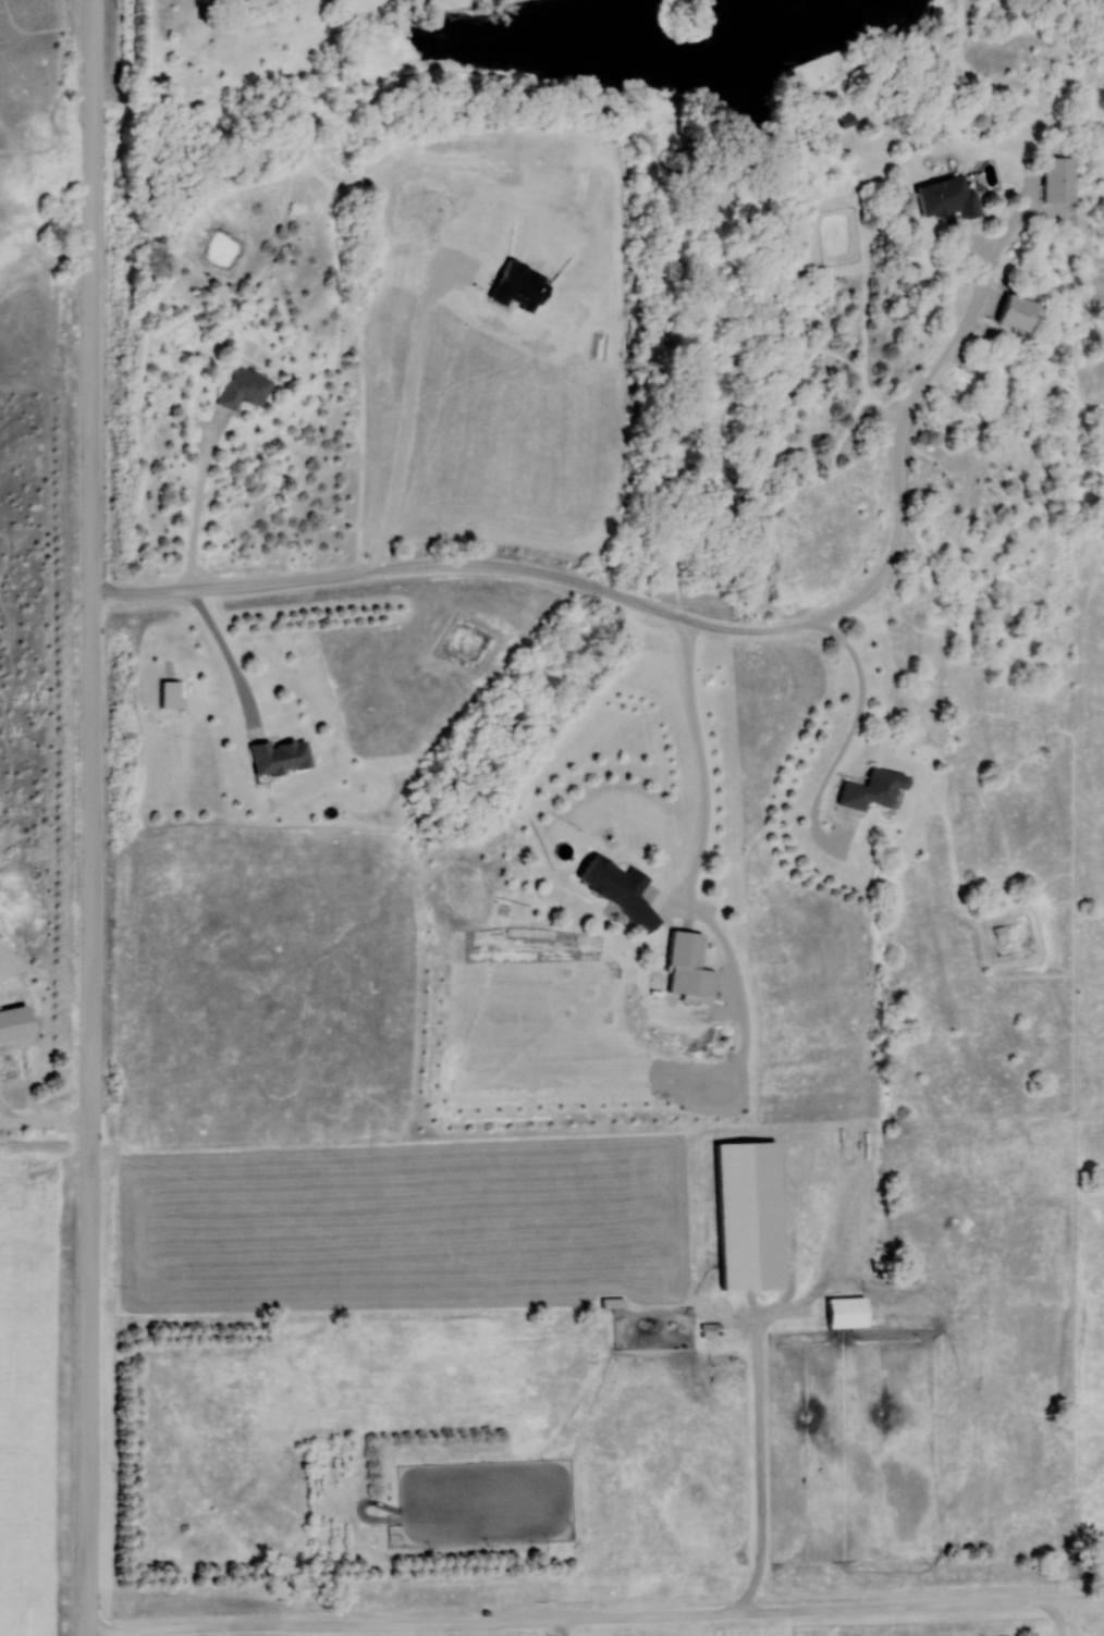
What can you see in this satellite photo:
building: (1060, 179)
building: (950, 197)
building: (1021, 311)
building: (247, 390)
road: (204, 508)
road: (677, 618)
building: (283, 757)
building: (876, 789)
road: (95, 817)
building: (617, 881)
building: (691, 968)
road: (47, 1127)
building: (851, 1313)
road: (763, 1468)
road: (1069, 1619)
road: (620, 1621)
road: (573, 1629)

